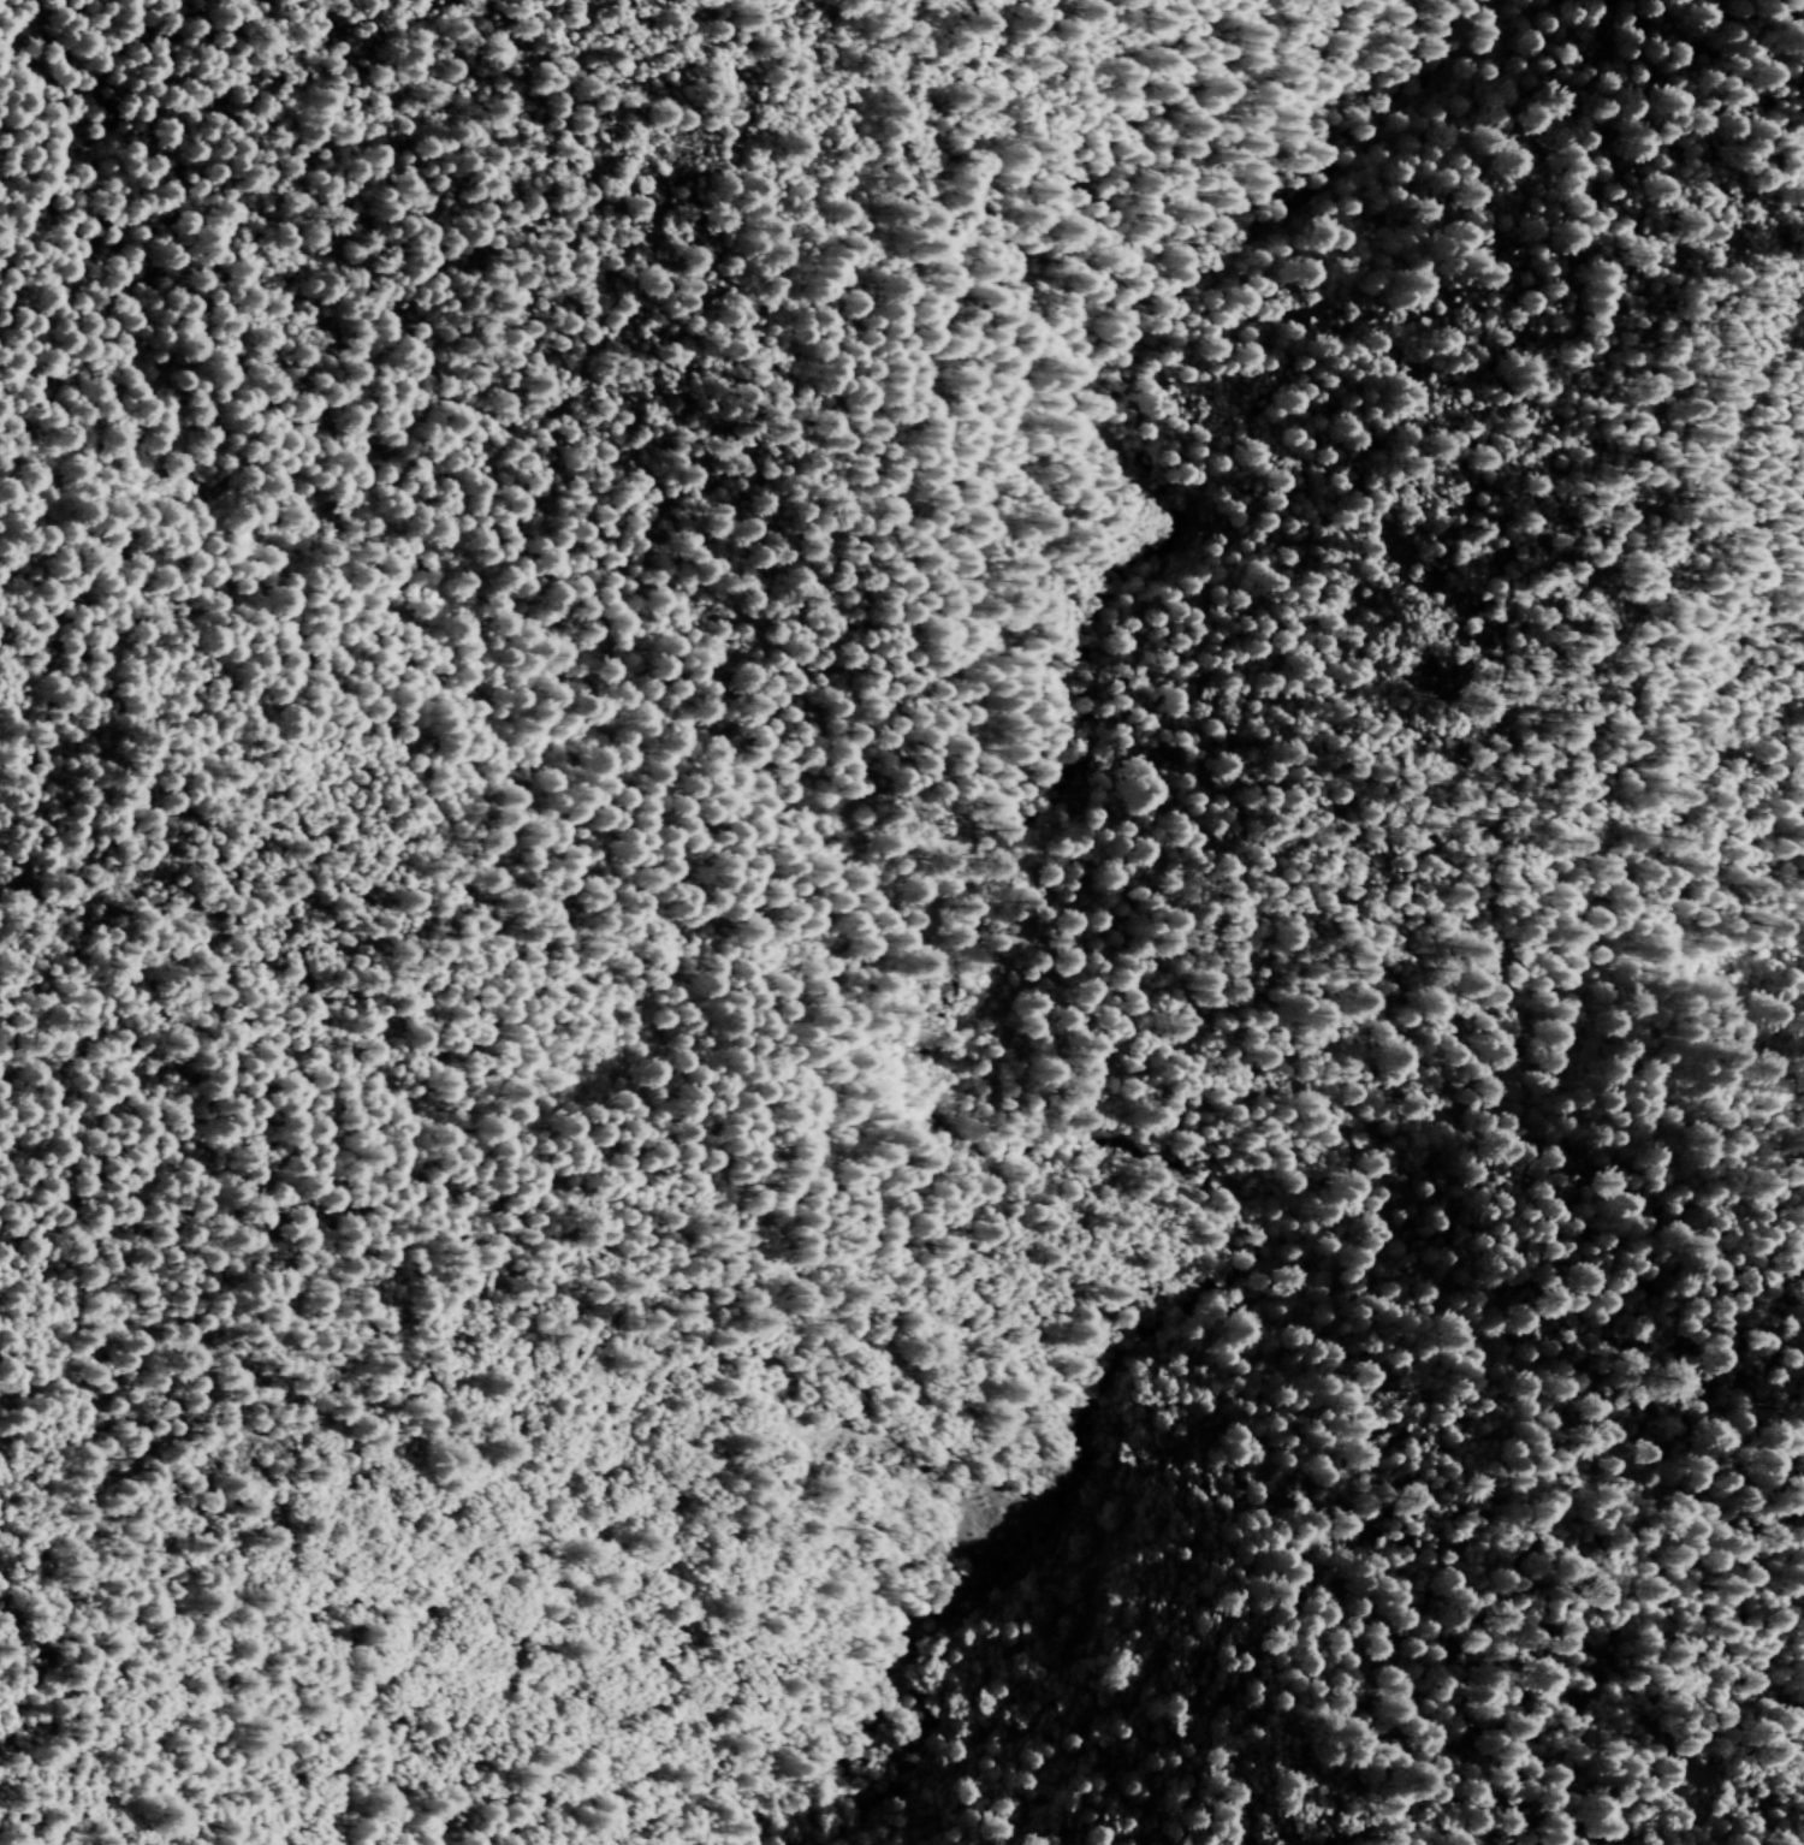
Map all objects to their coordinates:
park: (961, 854)
park: (1499, 1046)
road: (848, 1067)

